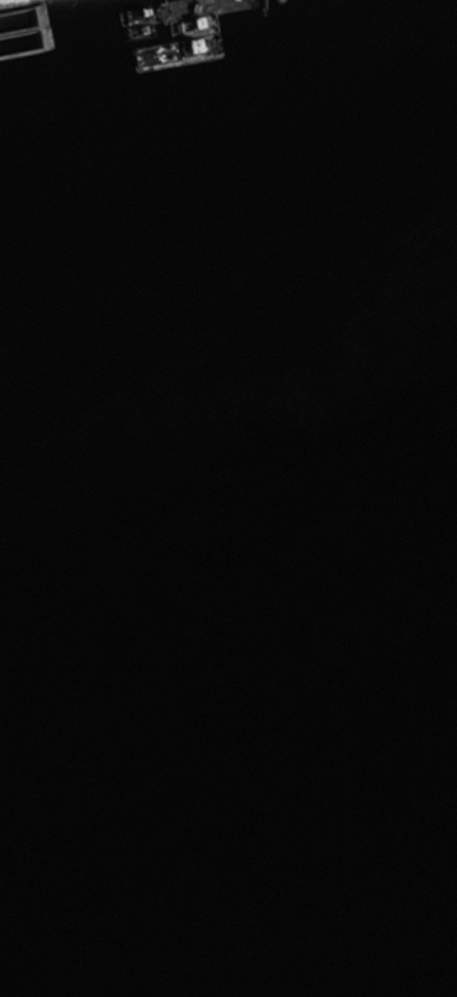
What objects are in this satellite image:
river: (228, 841)

